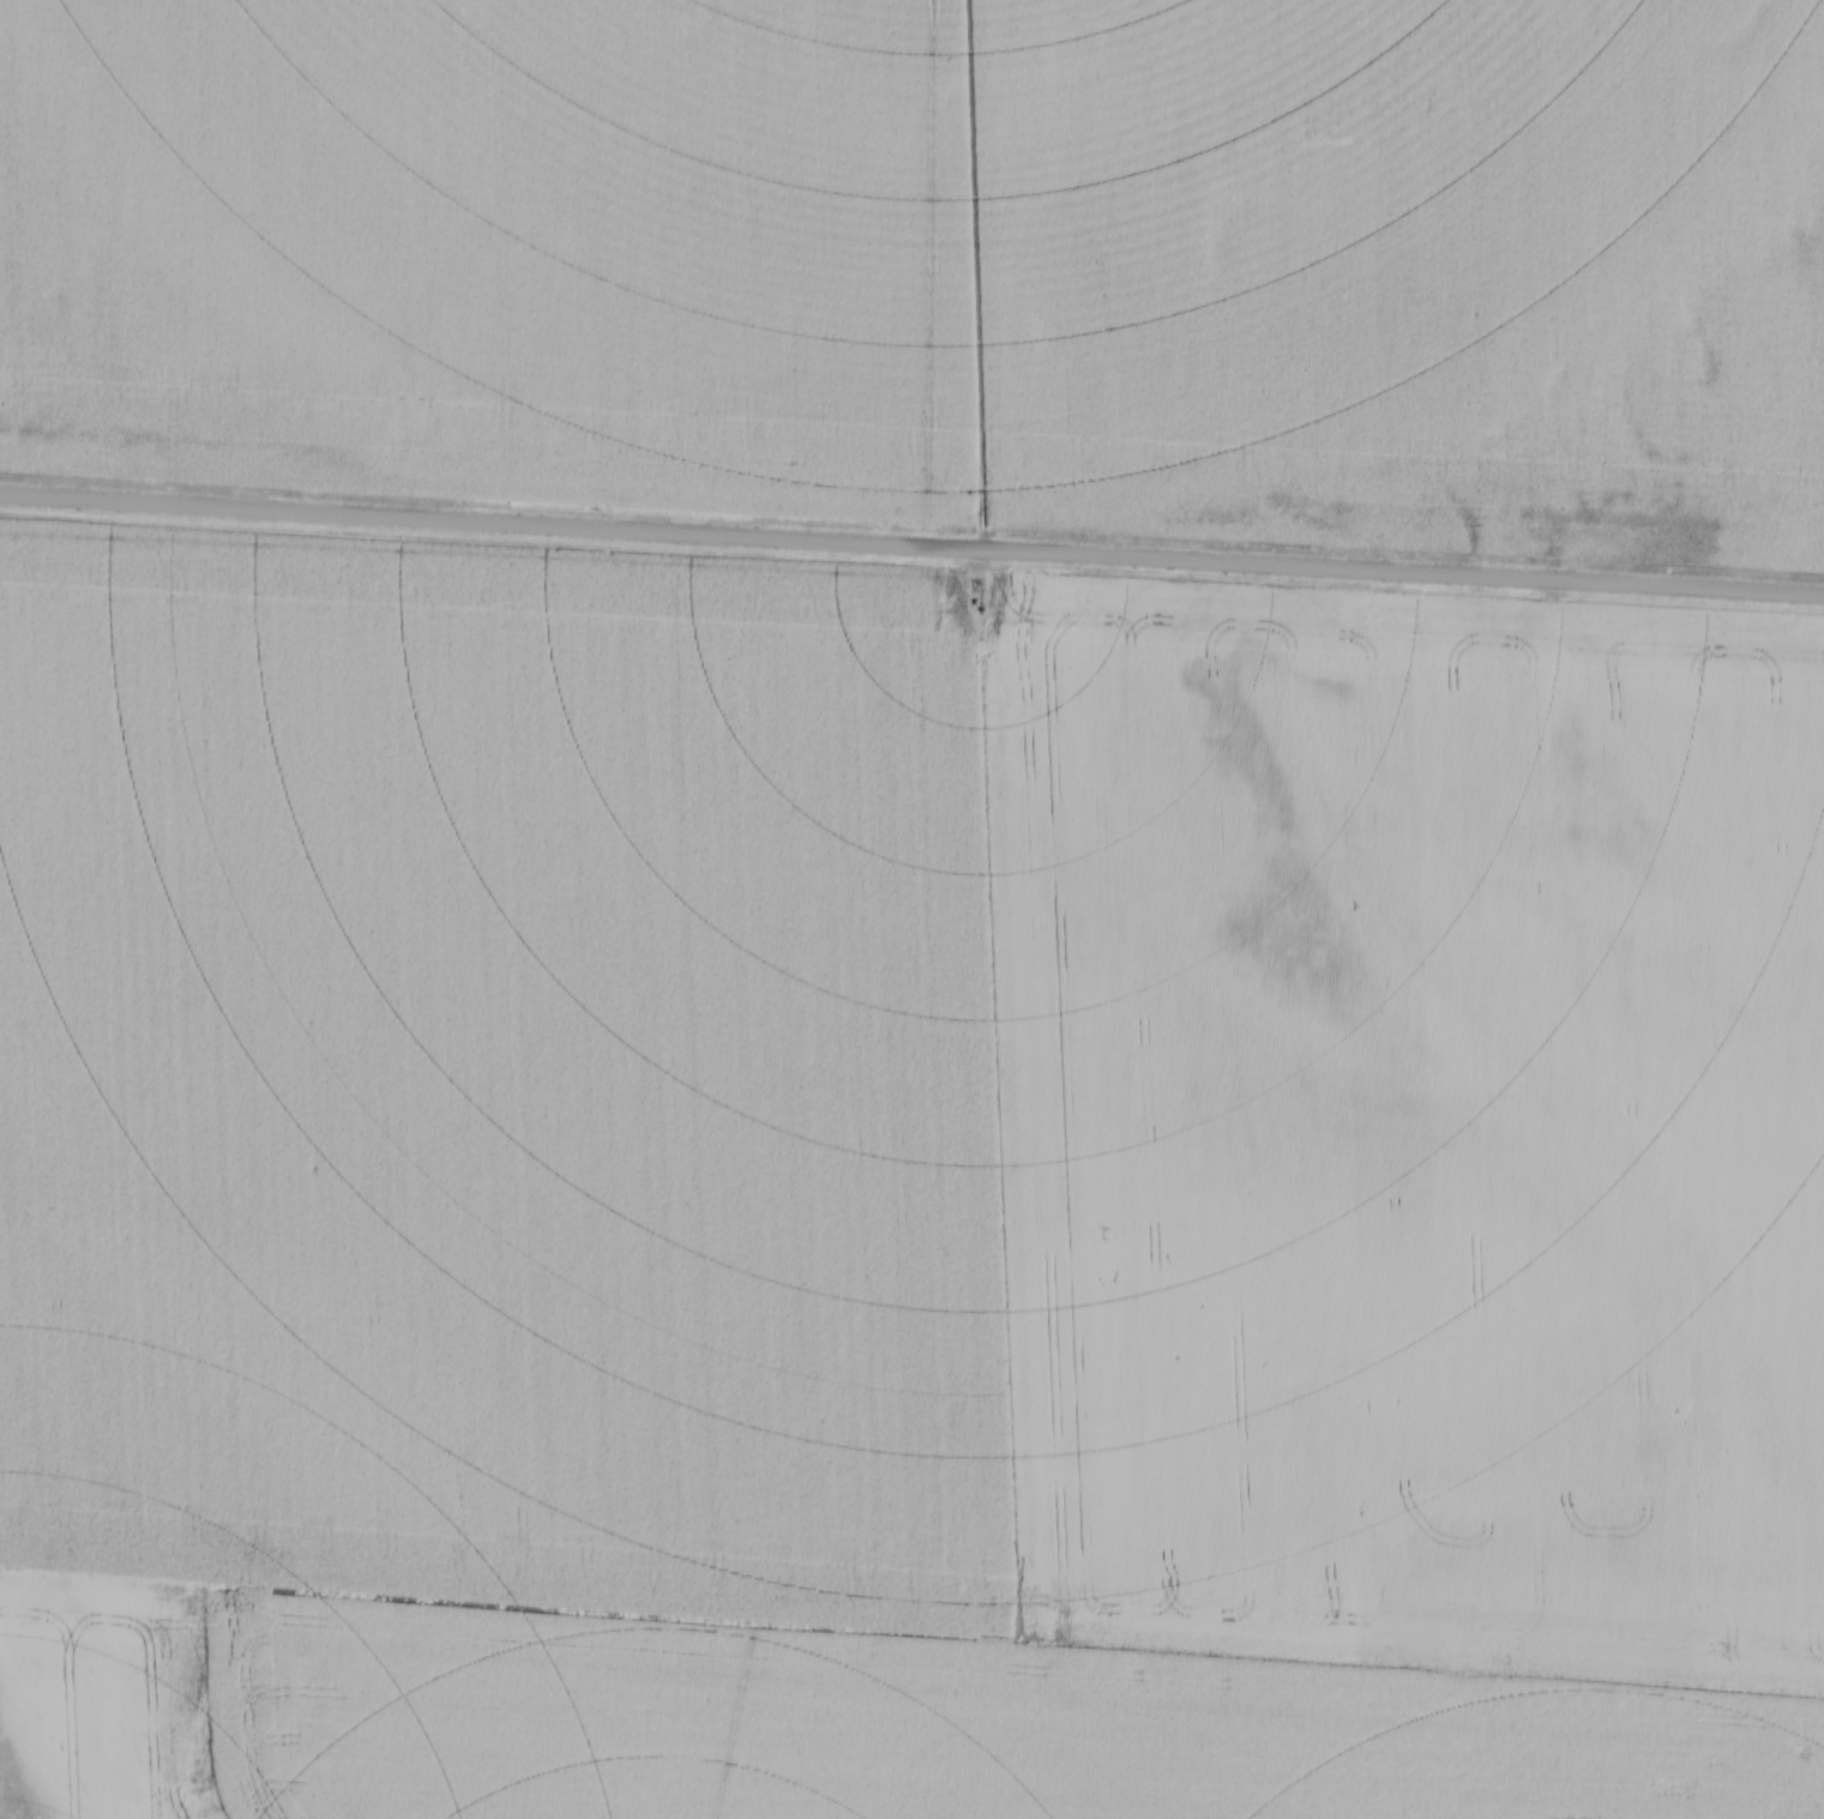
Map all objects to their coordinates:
road: (911, 550)

